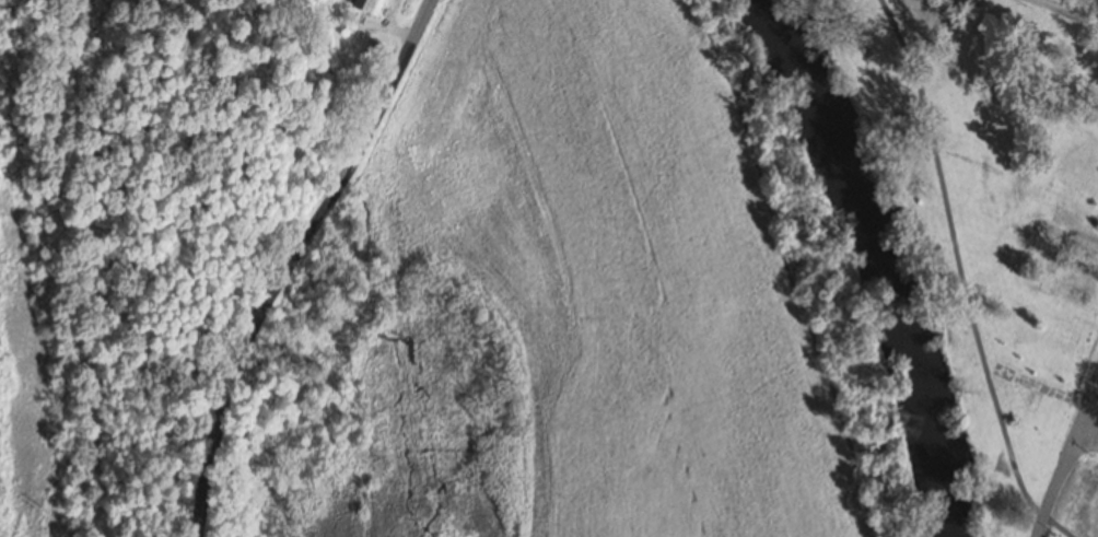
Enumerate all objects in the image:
building: (366, 7)
road: (1063, 13)
building: (1097, 161)
river: (876, 257)
road: (291, 259)
crop: (568, 273)
building: (1060, 291)
road: (1090, 437)
road: (1067, 466)

